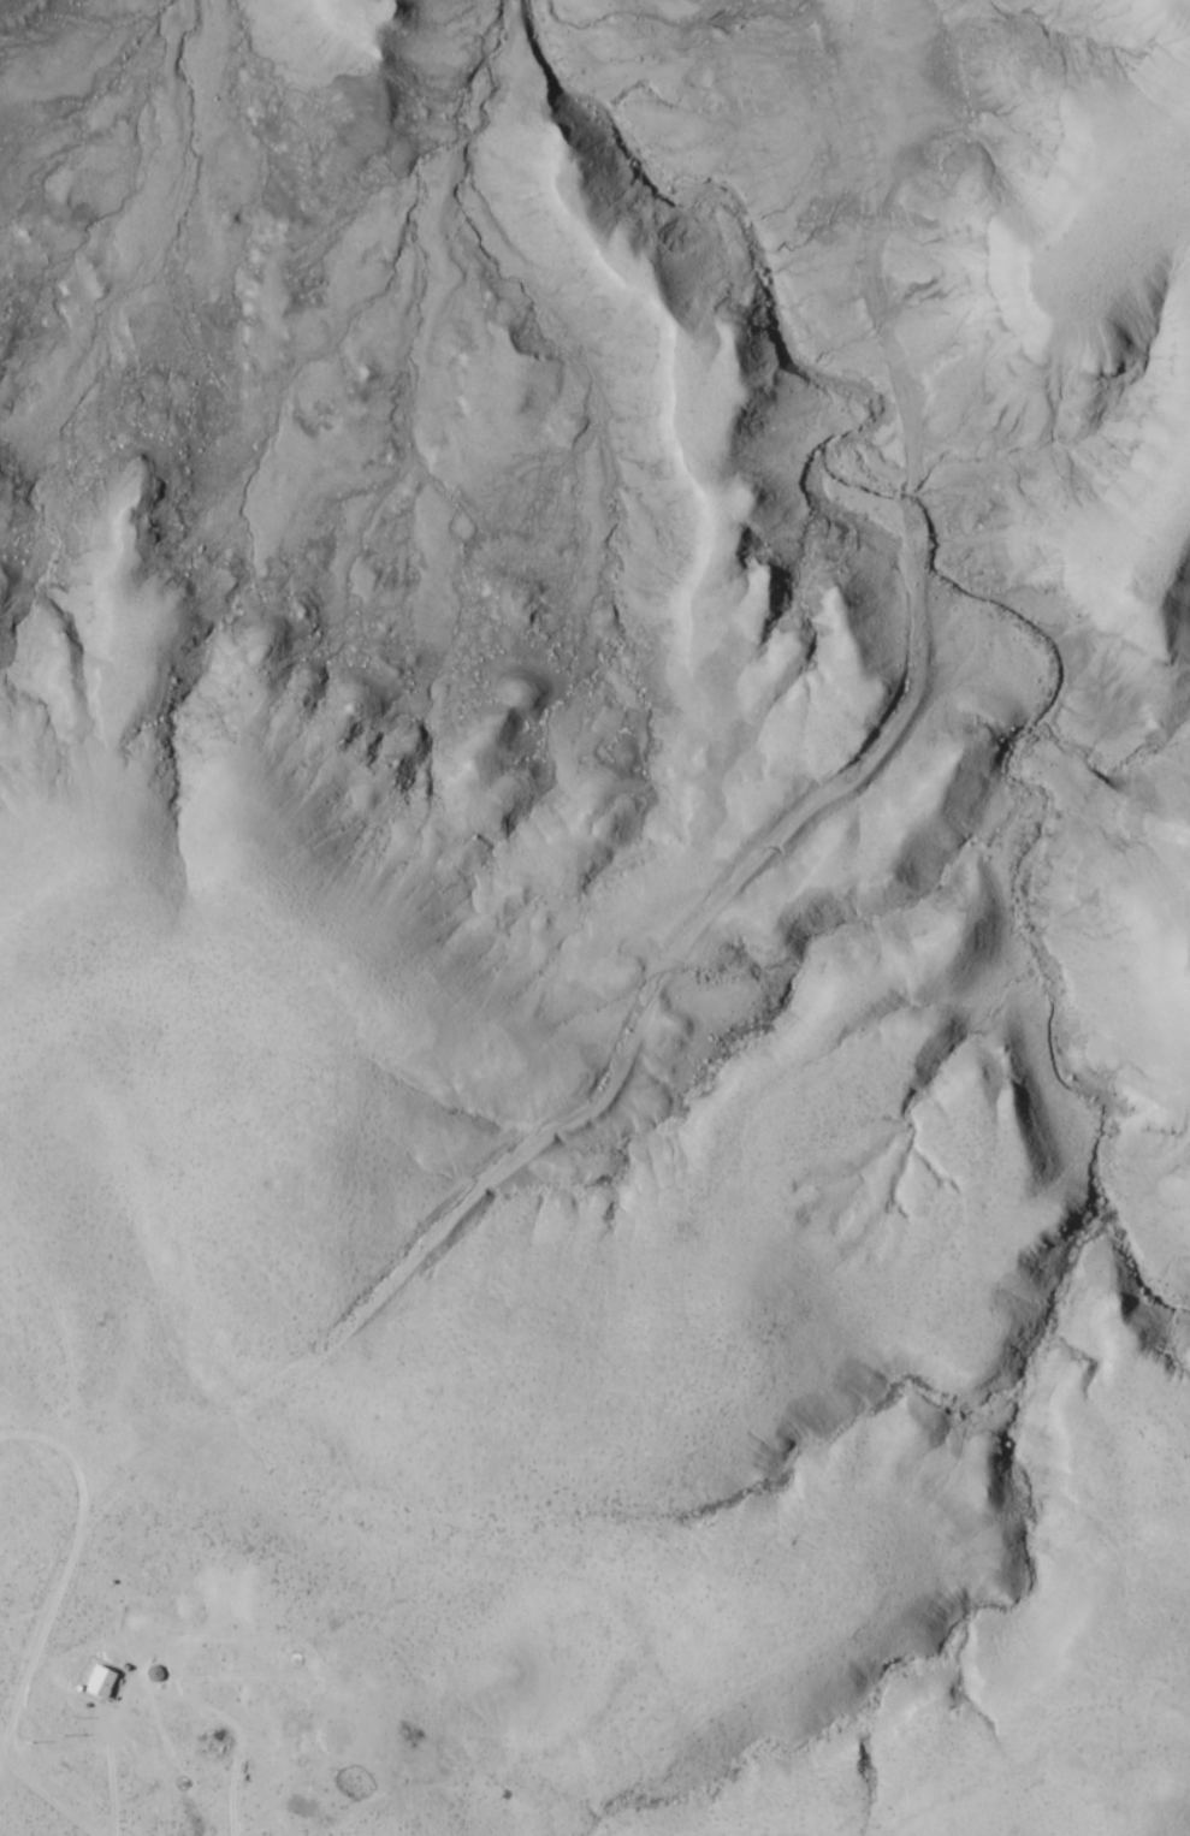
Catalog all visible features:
road: (67, 1574)
building: (103, 1683)
road: (48, 1796)

